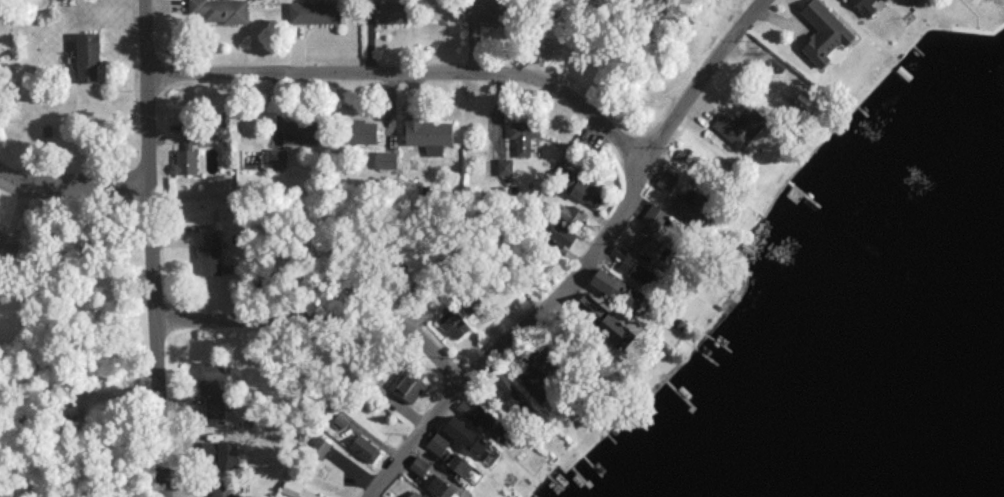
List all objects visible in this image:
building: (882, 0)
building: (863, 6)
building: (219, 10)
building: (484, 10)
building: (314, 12)
building: (392, 12)
building: (822, 32)
building: (87, 57)
road: (412, 72)
building: (739, 125)
building: (360, 131)
building: (301, 132)
building: (428, 134)
building: (522, 136)
building: (186, 151)
building: (275, 159)
building: (385, 159)
building: (503, 166)
building: (666, 180)
building: (580, 188)
road: (72, 189)
building: (572, 214)
building: (653, 216)
building: (0, 228)
building: (559, 234)
building: (7, 248)
road: (150, 248)
building: (646, 248)
building: (617, 251)
building: (209, 253)
road: (585, 264)
building: (636, 271)
building: (617, 289)
building: (588, 306)
road: (315, 320)
building: (453, 323)
building: (535, 380)
building: (213, 386)
building: (408, 387)
building: (511, 396)
building: (341, 418)
building: (485, 420)
building: (467, 437)
building: (319, 447)
building: (364, 448)
building: (218, 454)
building: (448, 454)
building: (418, 466)
building: (437, 486)
building: (290, 488)
building: (221, 489)
building: (414, 494)

